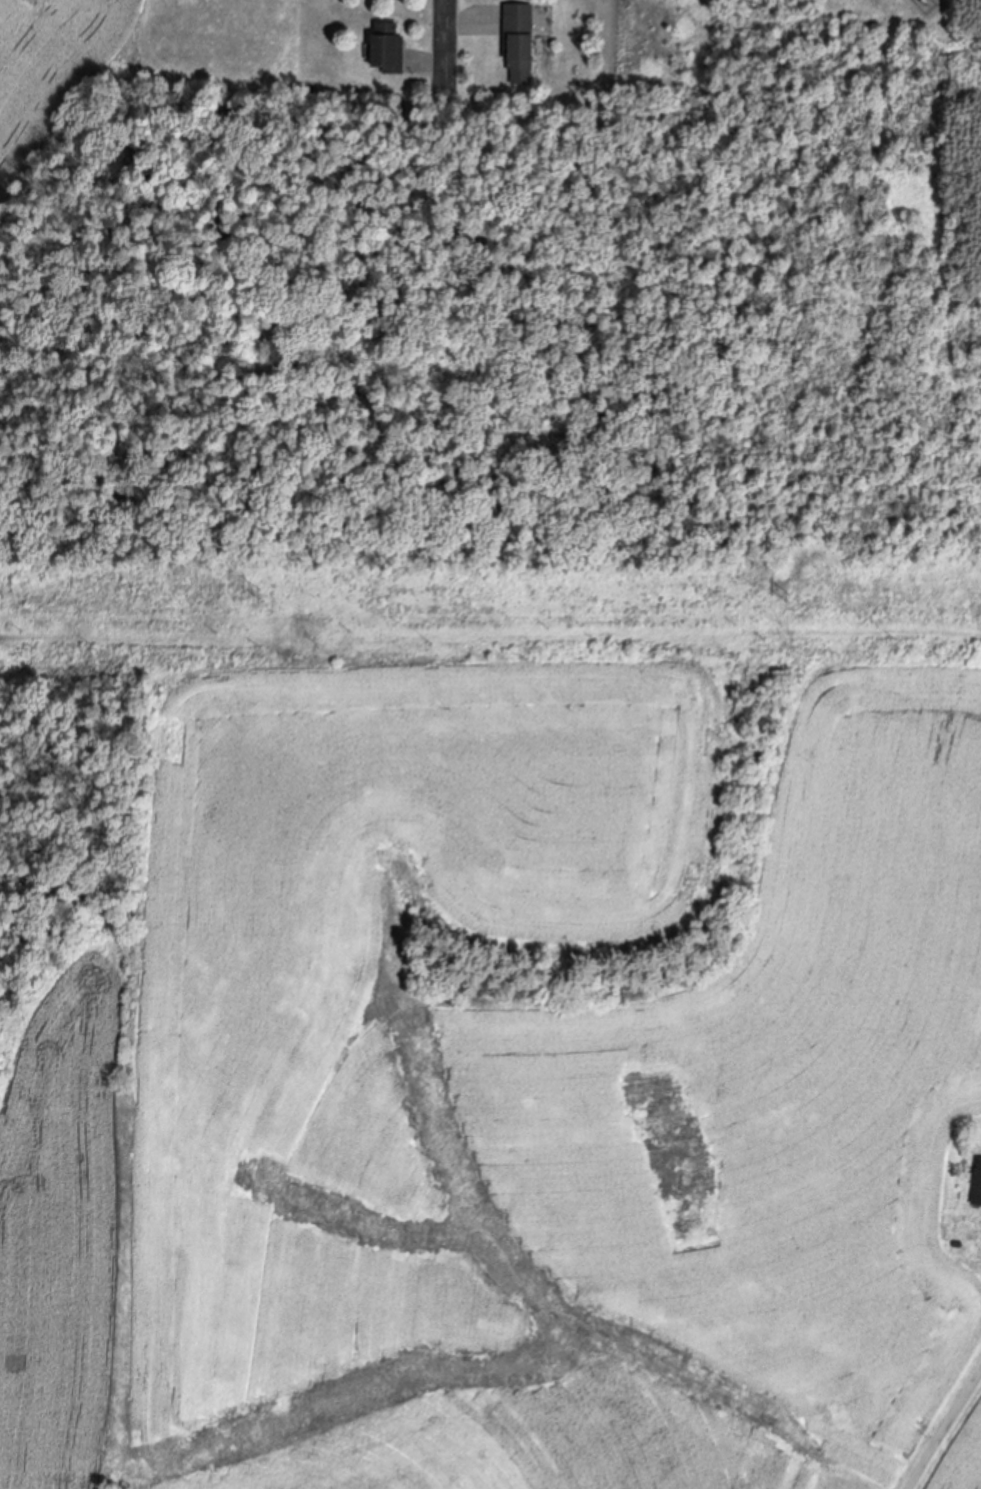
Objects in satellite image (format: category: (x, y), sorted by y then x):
road: (443, 40)
building: (520, 44)
building: (391, 45)
power tower: (259, 592)
power tower: (787, 595)
building: (978, 1186)
road: (940, 1423)

